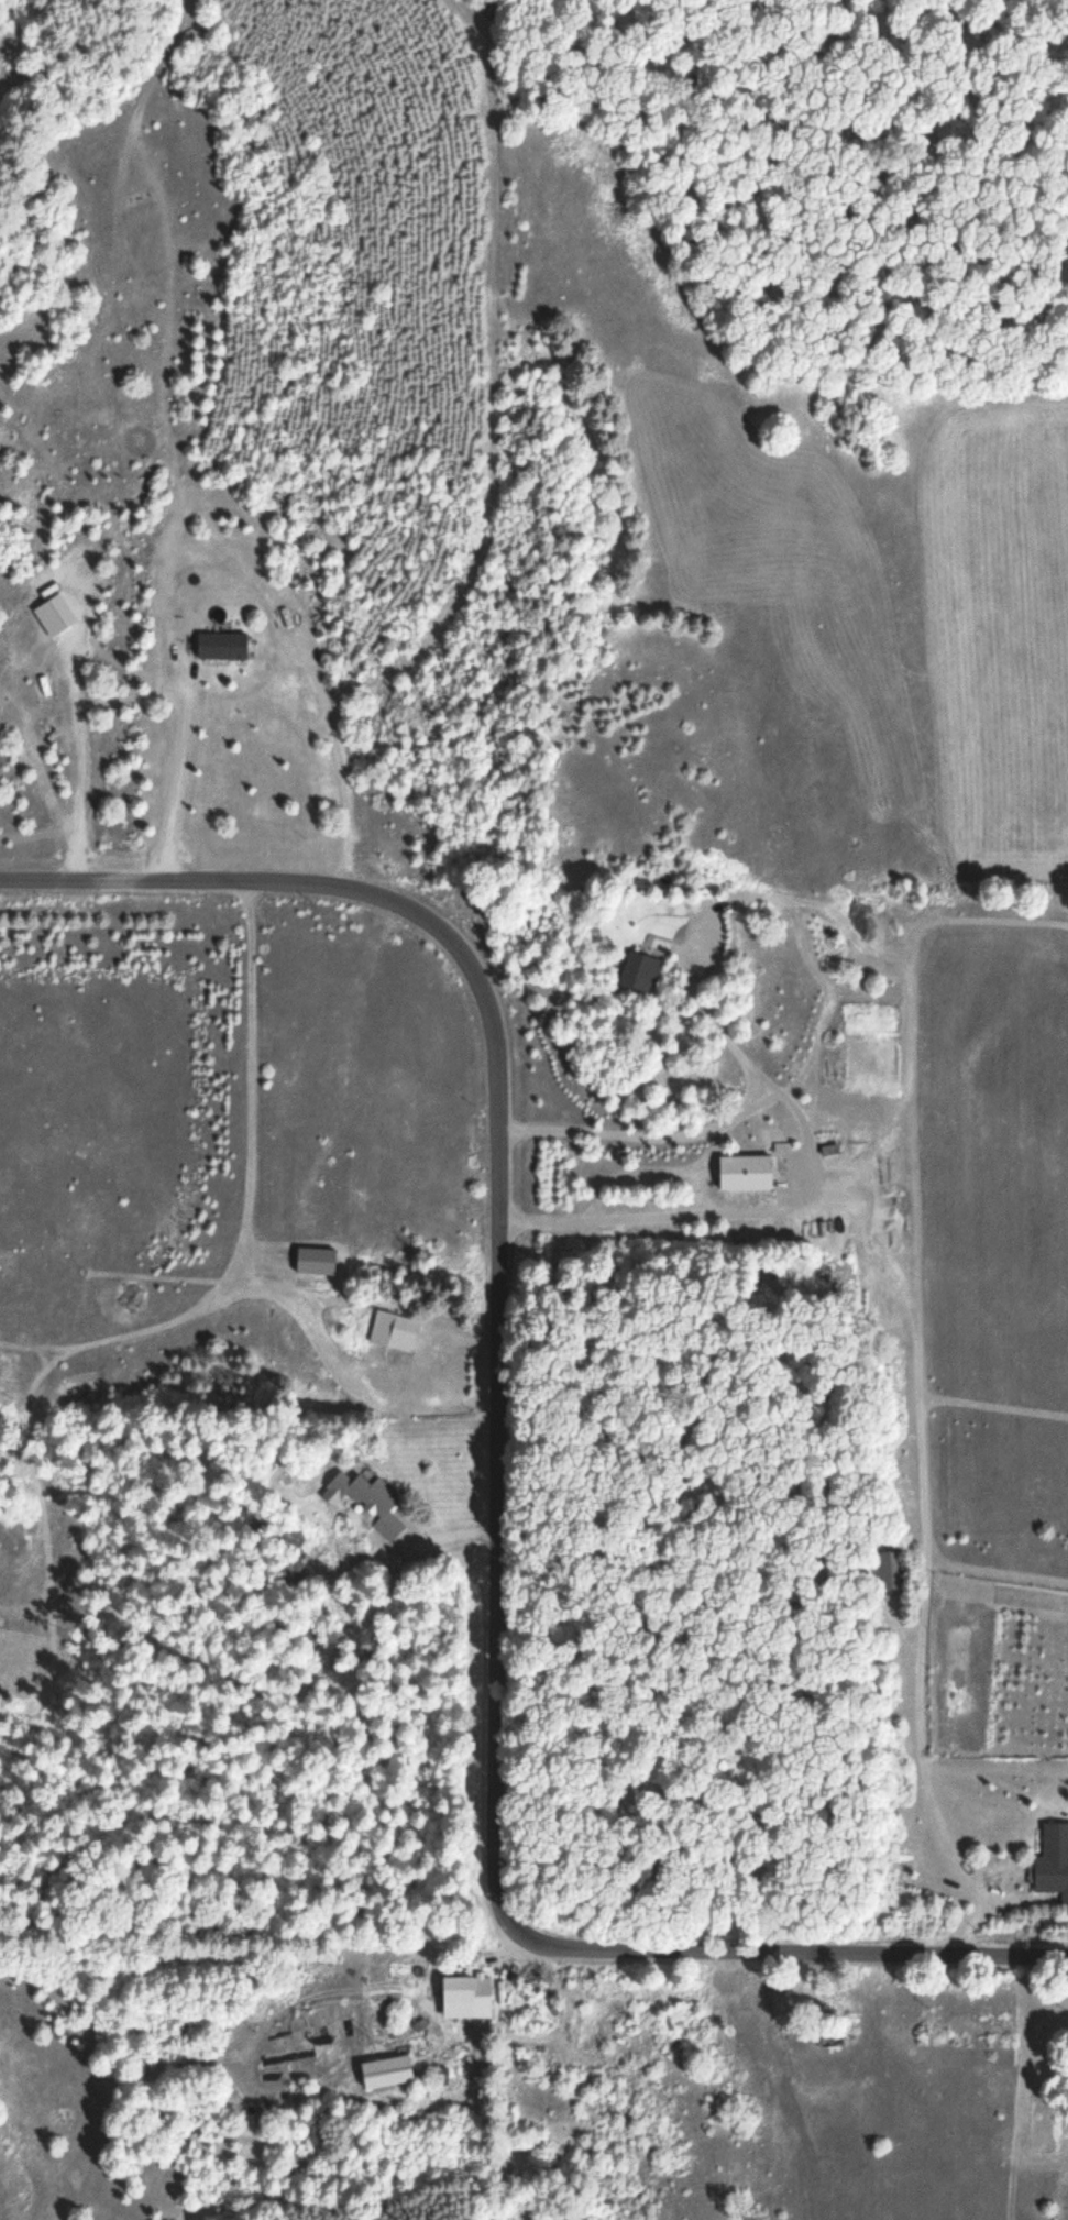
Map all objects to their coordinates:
building: (221, 645)
building: (315, 1262)
building: (393, 1331)
road: (500, 1482)
building: (367, 1501)
building: (888, 1570)
building: (309, 1638)
building: (1050, 1875)
building: (467, 1992)
building: (385, 2074)

